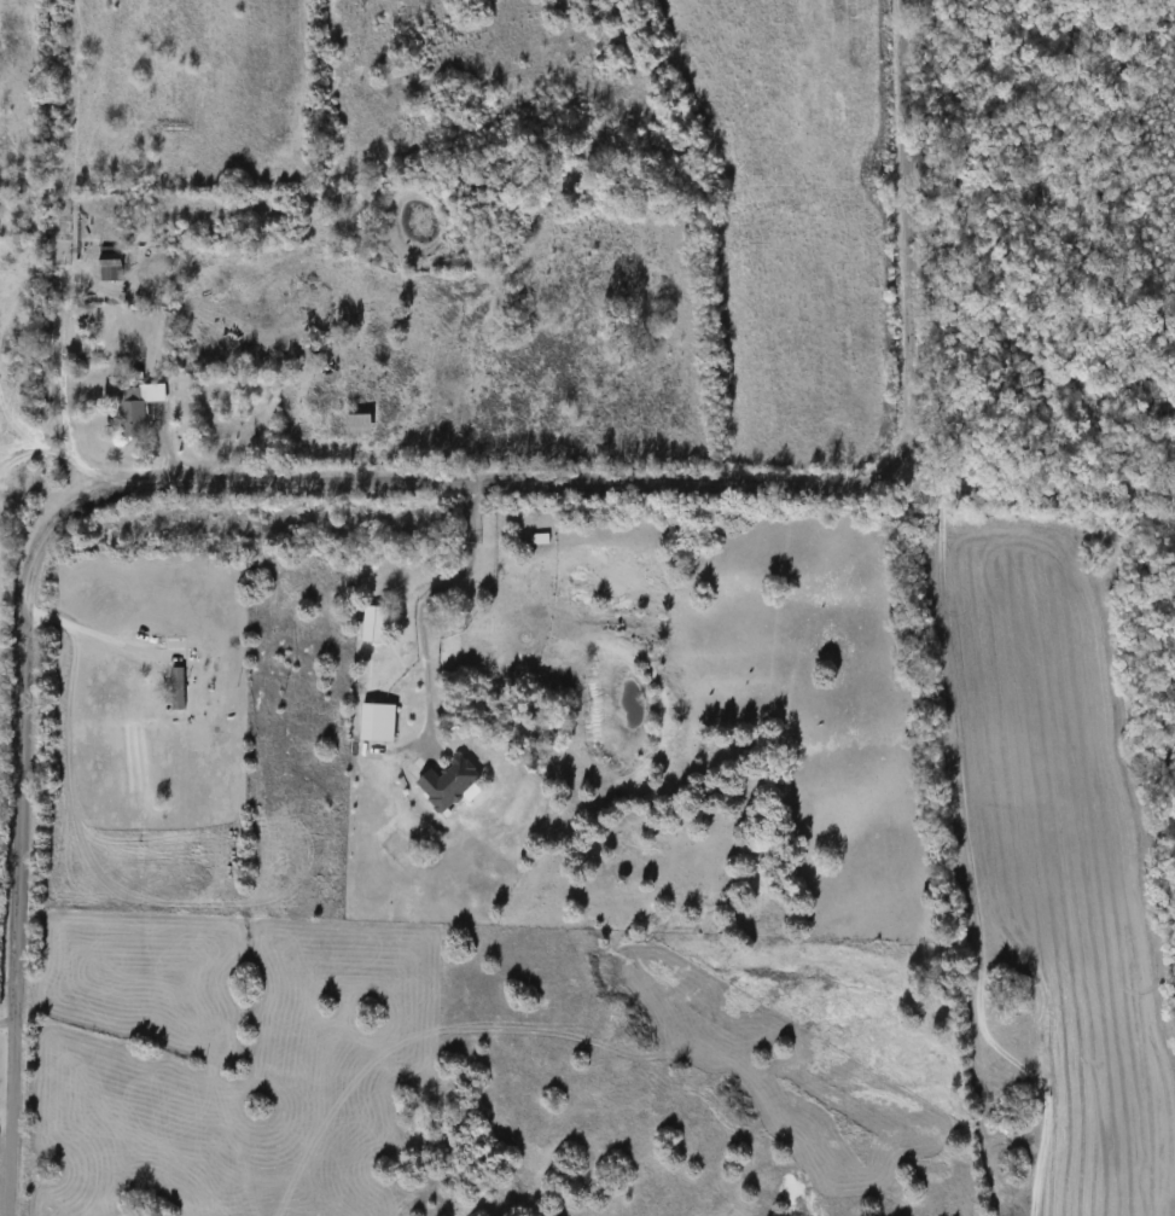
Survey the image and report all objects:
road: (907, 244)
building: (107, 262)
road: (64, 385)
building: (127, 409)
road: (128, 482)
road: (1046, 488)
road: (418, 604)
building: (371, 623)
road: (86, 627)
building: (174, 688)
building: (374, 721)
building: (444, 782)
road: (6, 1023)
road: (5, 1102)

